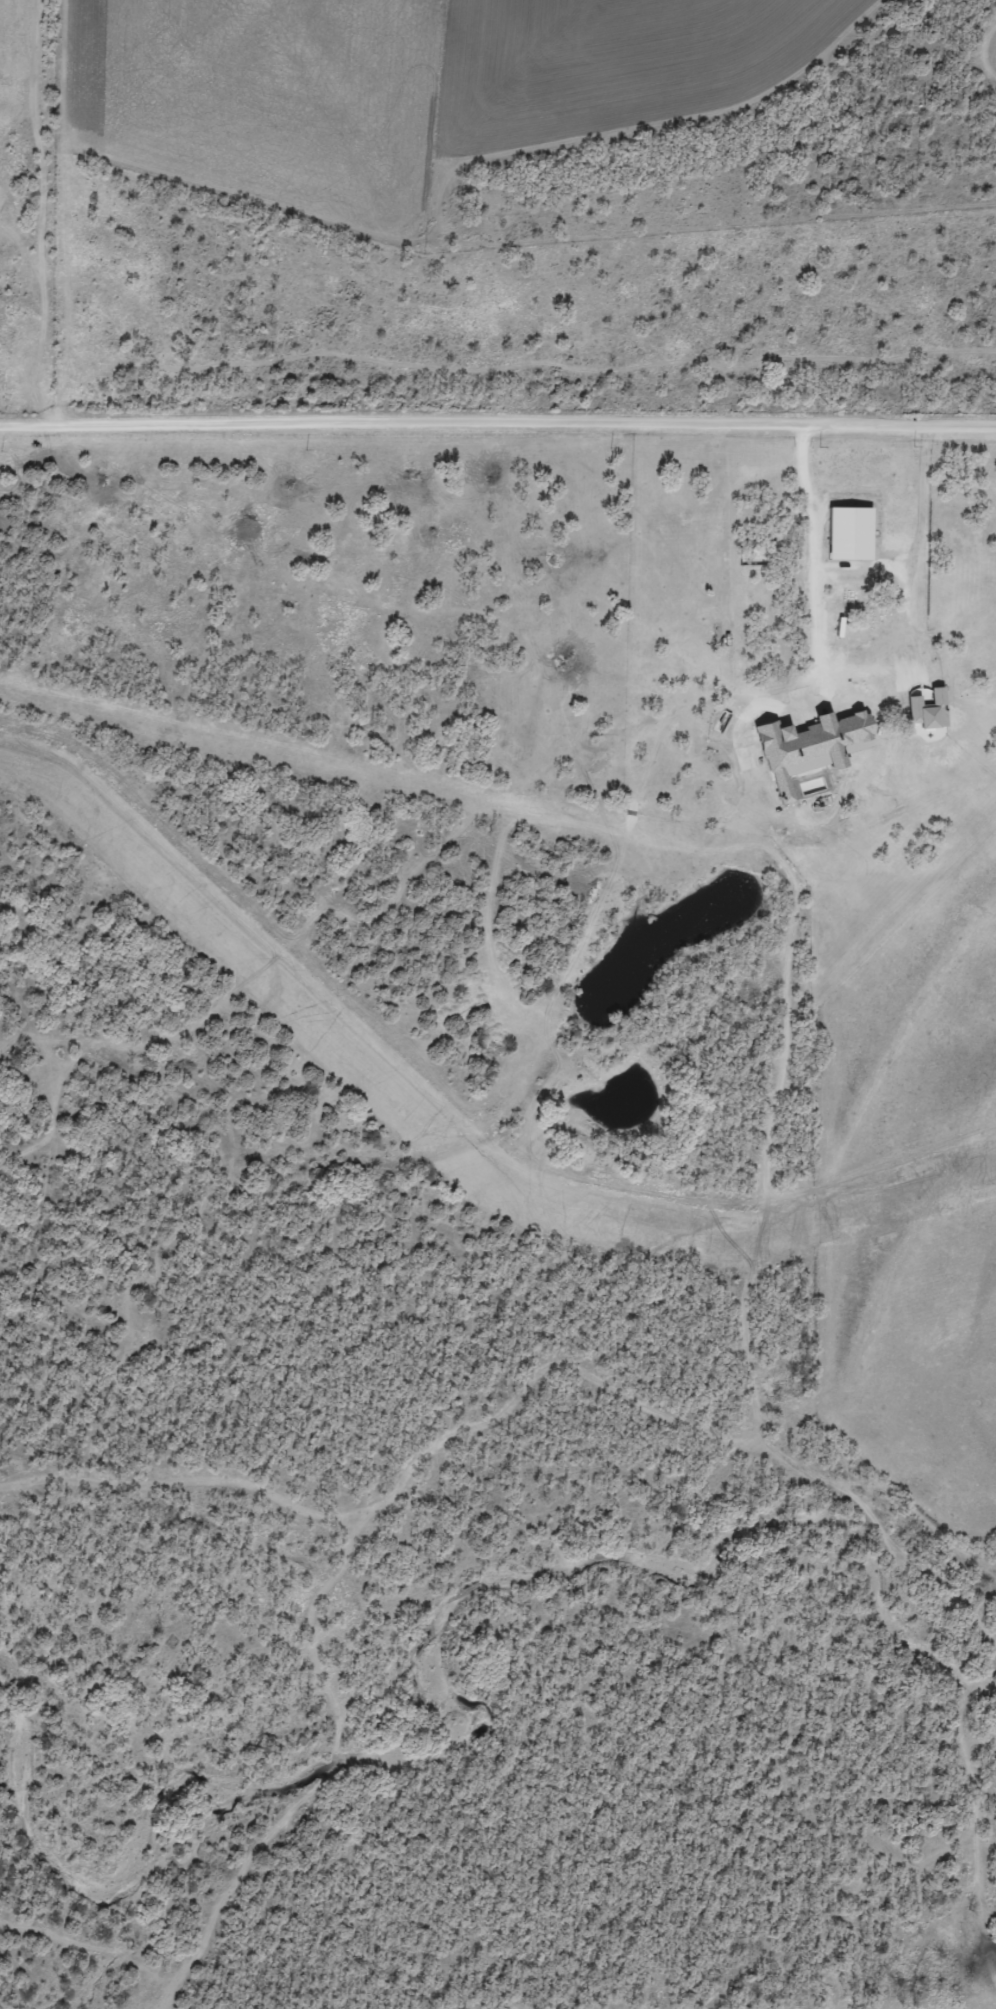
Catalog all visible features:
road: (497, 423)
building: (845, 541)
building: (853, 660)
road: (855, 678)
building: (924, 718)
building: (804, 754)
building: (804, 781)

